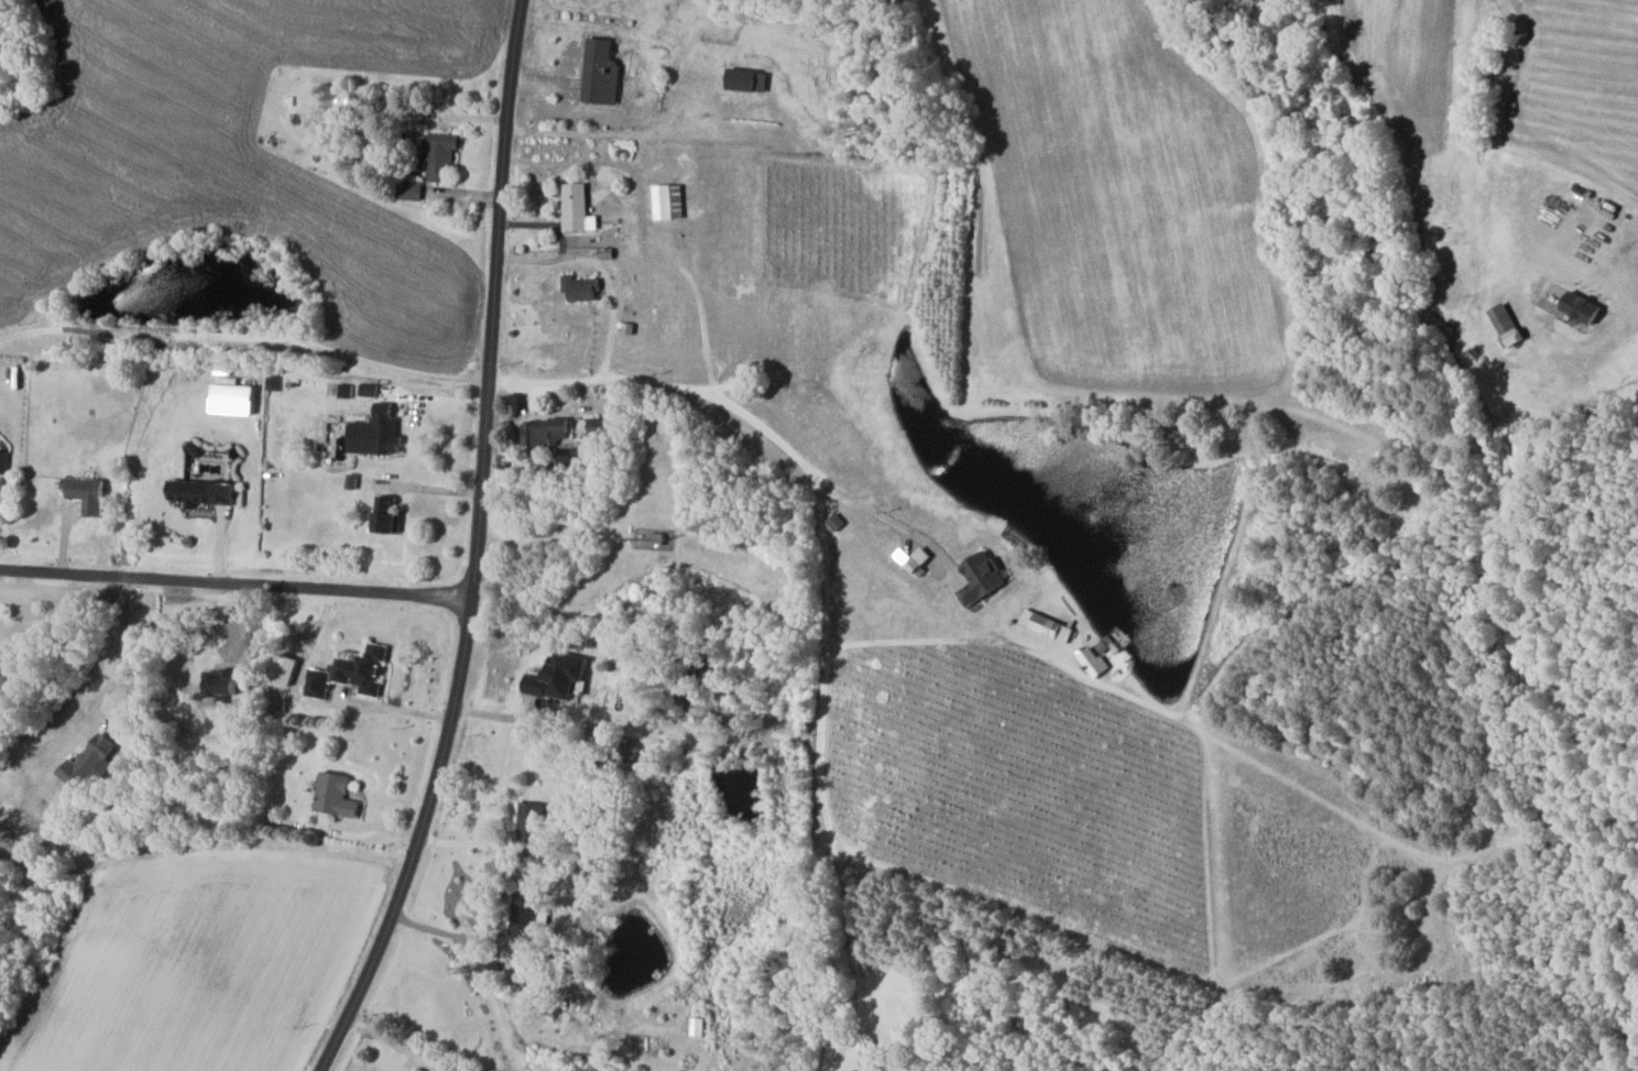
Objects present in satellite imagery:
building: (602, 70)
building: (749, 79)
building: (335, 119)
building: (443, 154)
building: (412, 189)
building: (668, 200)
building: (579, 207)
road: (647, 231)
road: (561, 244)
building: (582, 287)
road: (612, 300)
building: (1586, 307)
building: (1509, 324)
road: (245, 335)
road: (717, 402)
building: (600, 426)
building: (380, 431)
building: (206, 492)
building: (87, 493)
building: (391, 514)
building: (657, 538)
road: (477, 547)
building: (910, 560)
building: (985, 578)
road: (236, 583)
building: (1048, 625)
road: (1000, 642)
road: (124, 644)
building: (1102, 657)
building: (367, 669)
building: (560, 676)
building: (227, 681)
building: (321, 684)
building: (91, 764)
road: (821, 776)
building: (338, 795)
building: (531, 821)
building: (525, 917)
road: (439, 931)
road: (395, 1042)
building: (874, 1069)

